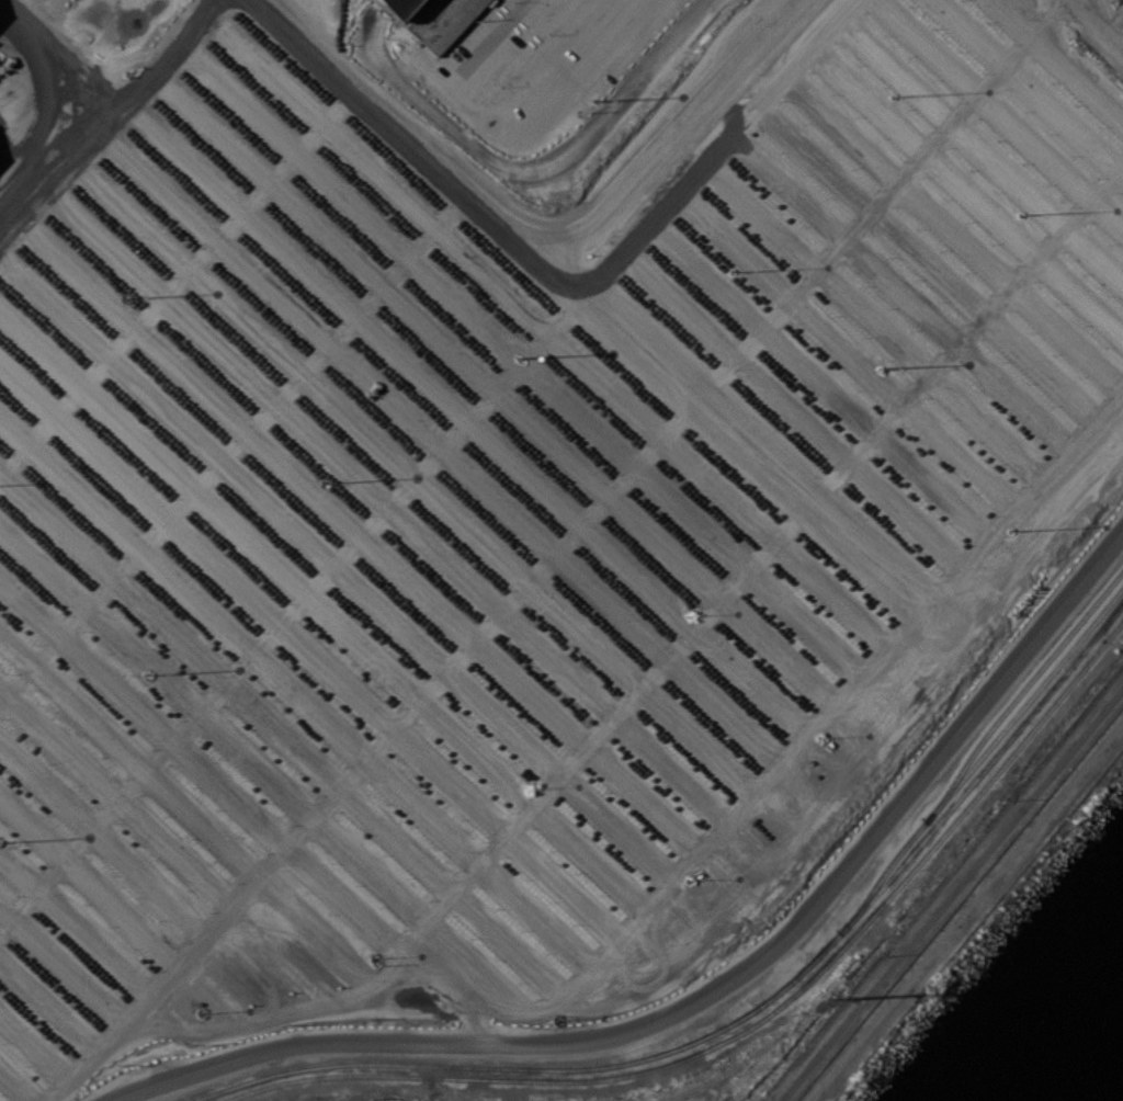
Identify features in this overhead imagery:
building: (397, 7)
road: (1101, 27)
road: (45, 118)
road: (11, 155)
road: (513, 204)
road: (560, 531)
road: (489, 642)
railway: (1019, 693)
road: (405, 738)
railway: (978, 758)
road: (961, 908)
road: (707, 992)
railway: (741, 1015)
railway: (756, 1021)
road: (124, 1022)

